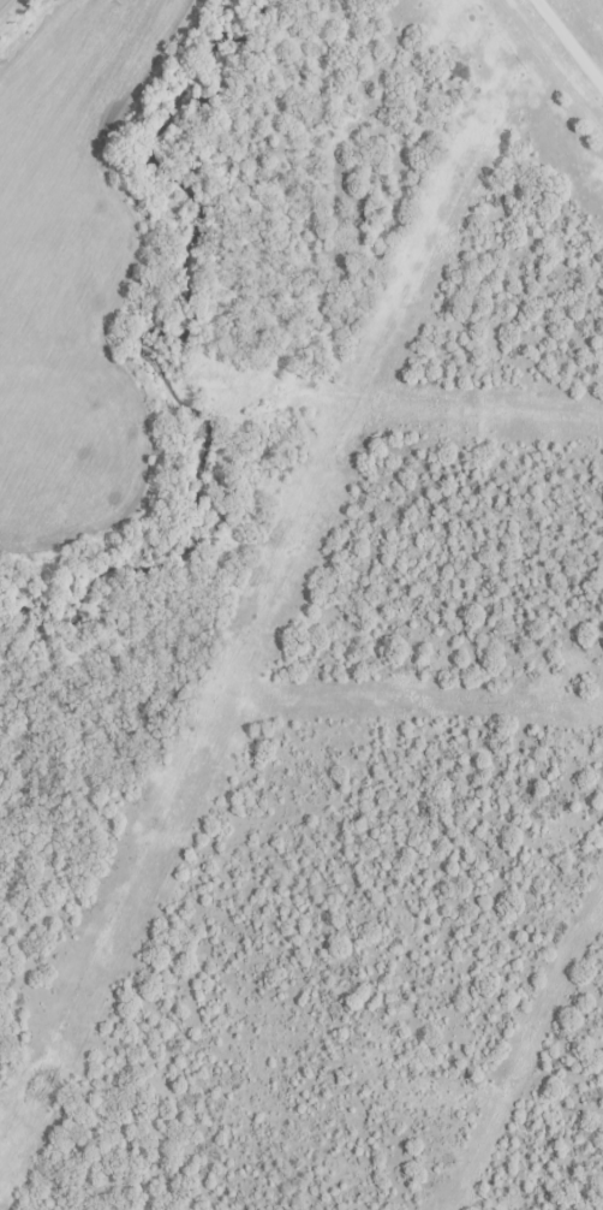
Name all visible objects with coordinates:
road: (2, 2)
road: (572, 38)
road: (549, 69)

